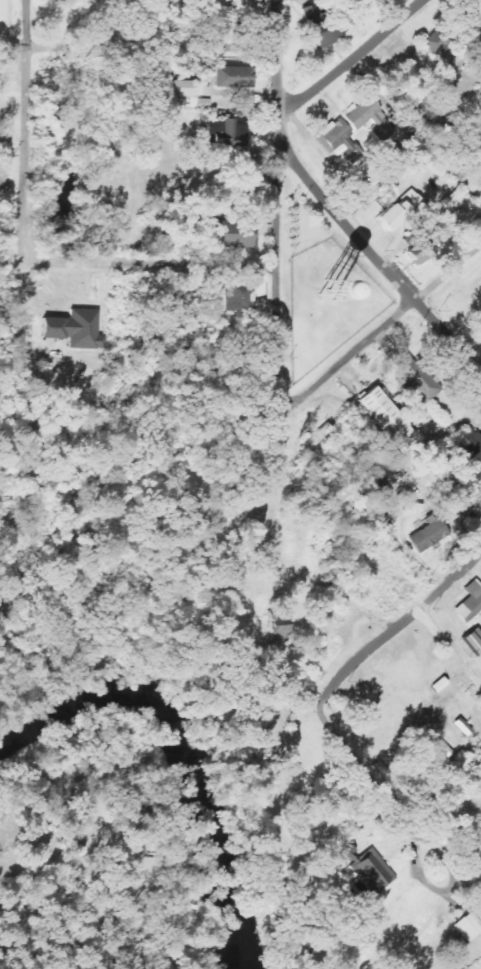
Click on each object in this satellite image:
building: (357, 1)
road: (469, 13)
building: (321, 27)
road: (137, 42)
building: (441, 53)
road: (351, 60)
building: (234, 77)
building: (185, 88)
building: (204, 103)
building: (433, 109)
building: (369, 118)
road: (170, 132)
building: (226, 133)
building: (341, 141)
road: (27, 192)
building: (399, 211)
road: (276, 239)
building: (233, 240)
building: (418, 255)
road: (377, 259)
road: (86, 262)
road: (224, 266)
building: (330, 289)
building: (238, 294)
building: (75, 328)
road: (379, 330)
building: (415, 376)
building: (393, 425)
building: (470, 446)
building: (477, 510)
building: (429, 535)
building: (470, 602)
road: (399, 624)
building: (278, 633)
building: (474, 640)
road: (450, 646)
river: (192, 743)
building: (479, 759)
road: (366, 777)
building: (369, 869)

